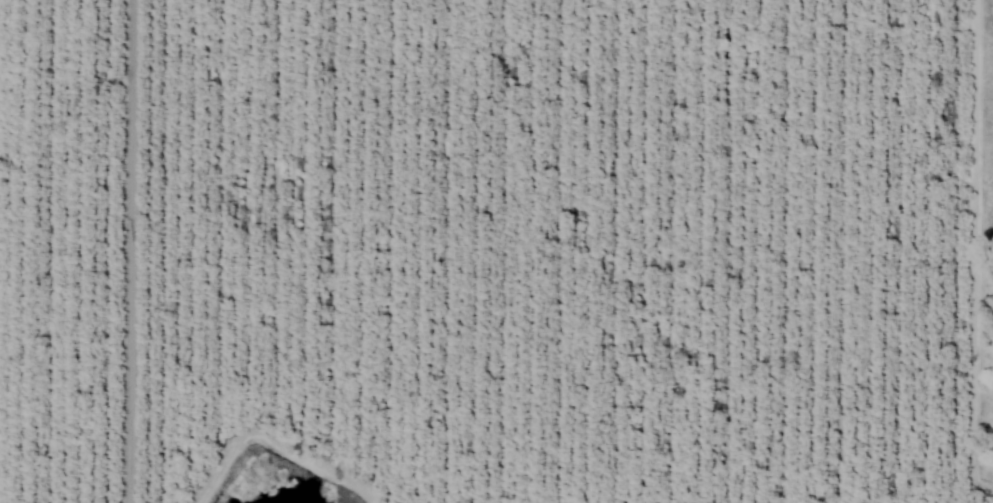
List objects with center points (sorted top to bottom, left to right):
road: (676, 251)

